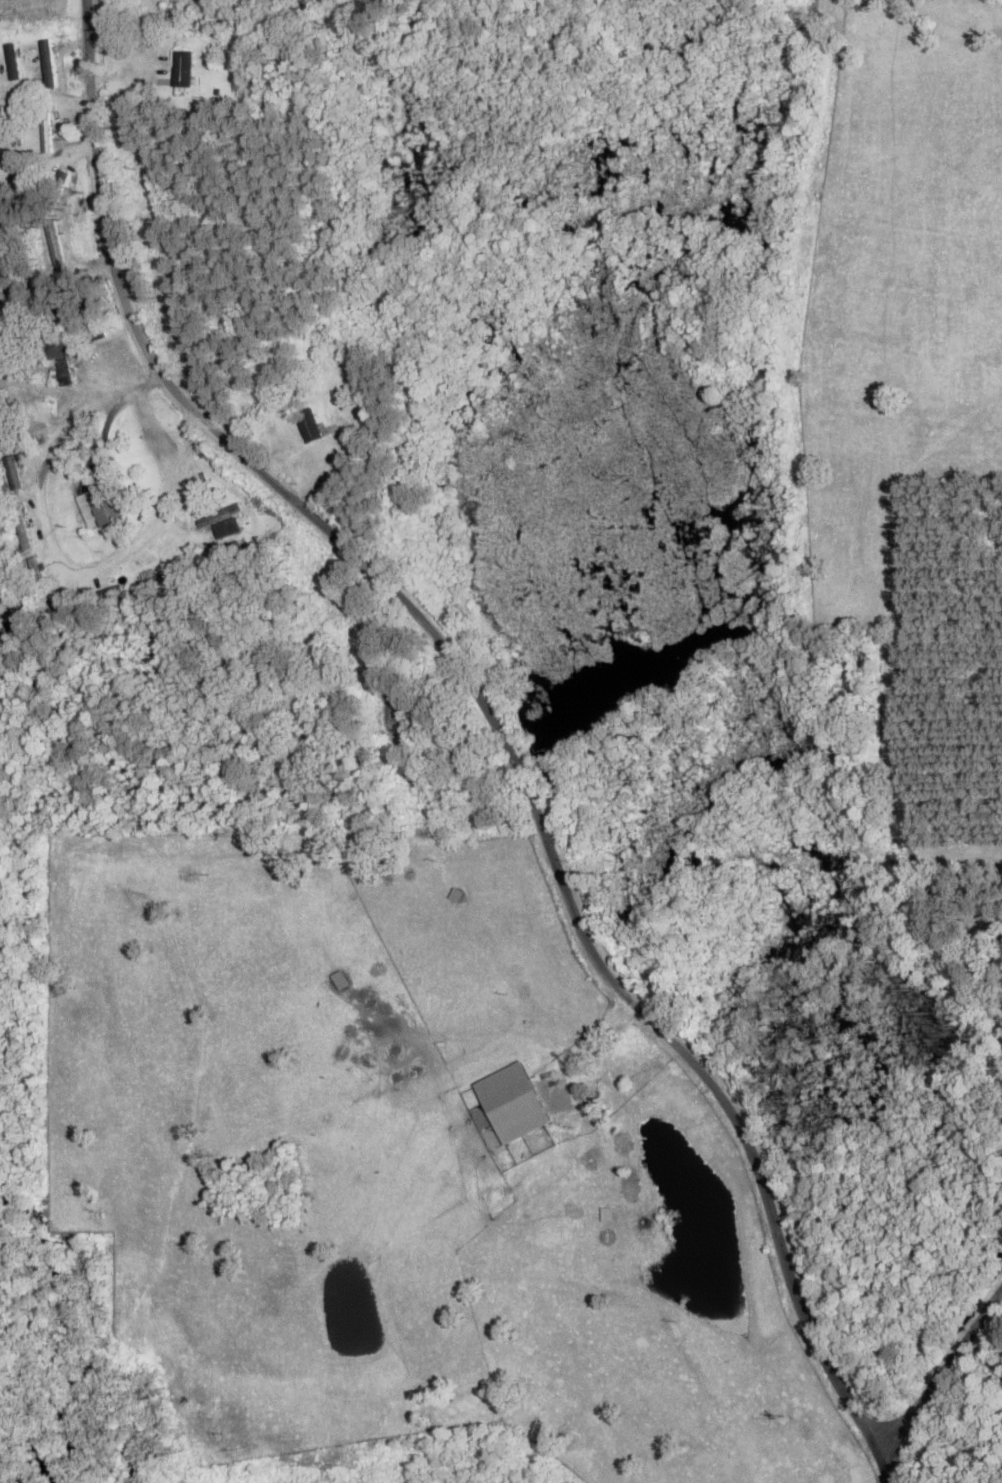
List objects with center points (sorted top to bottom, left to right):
building: (19, 51)
building: (180, 70)
road: (64, 83)
building: (0, 130)
building: (16, 134)
building: (45, 134)
road: (77, 249)
building: (60, 348)
building: (2, 395)
building: (307, 427)
building: (14, 475)
river: (599, 486)
building: (97, 508)
building: (218, 517)
building: (20, 527)
road: (160, 548)
building: (36, 575)
building: (10, 591)
building: (104, 595)
road: (281, 706)
road: (505, 726)
road: (389, 821)
road: (943, 1373)

